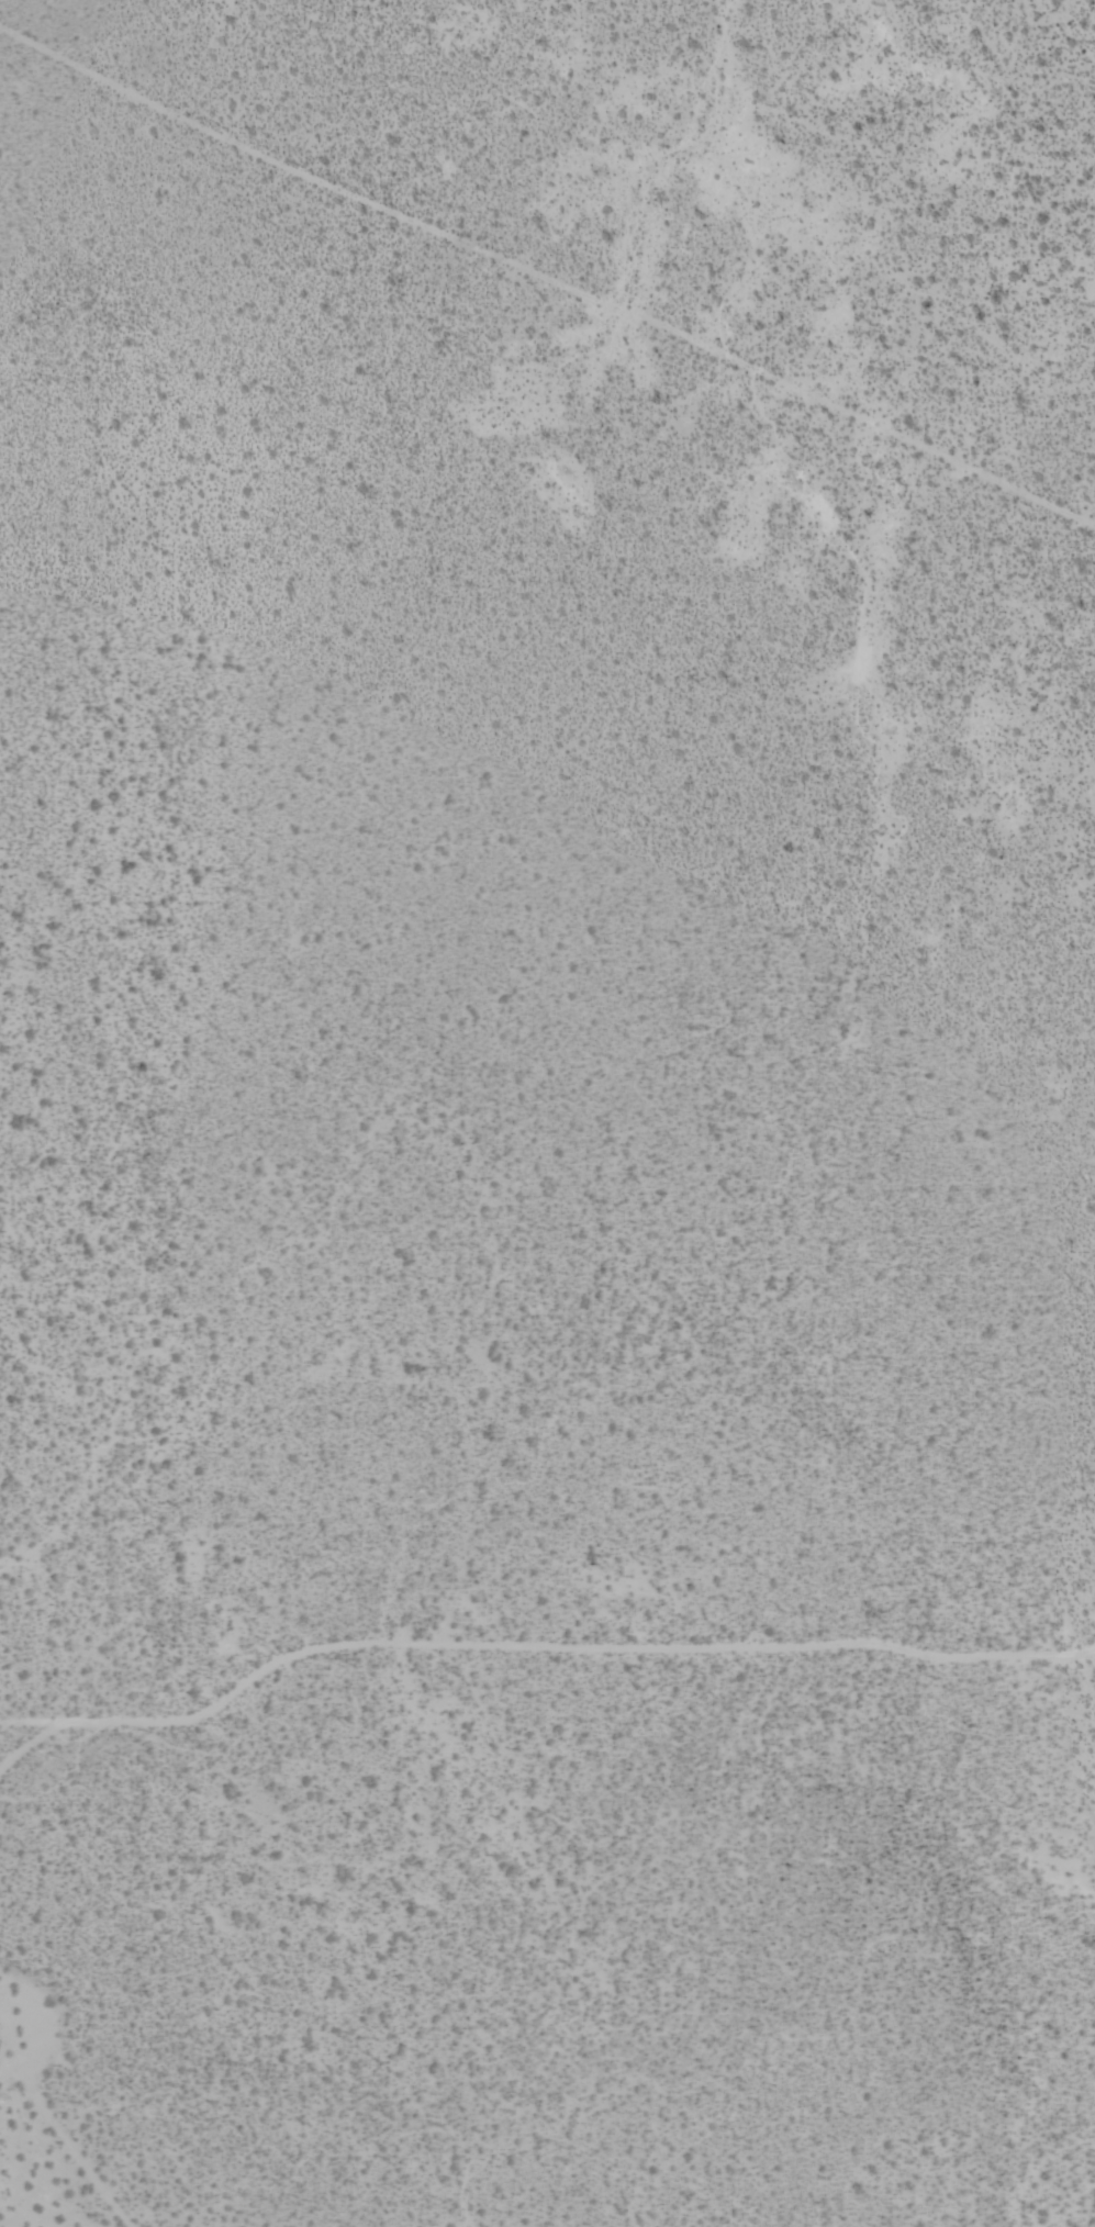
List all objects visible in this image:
airport: (547, 1113)

